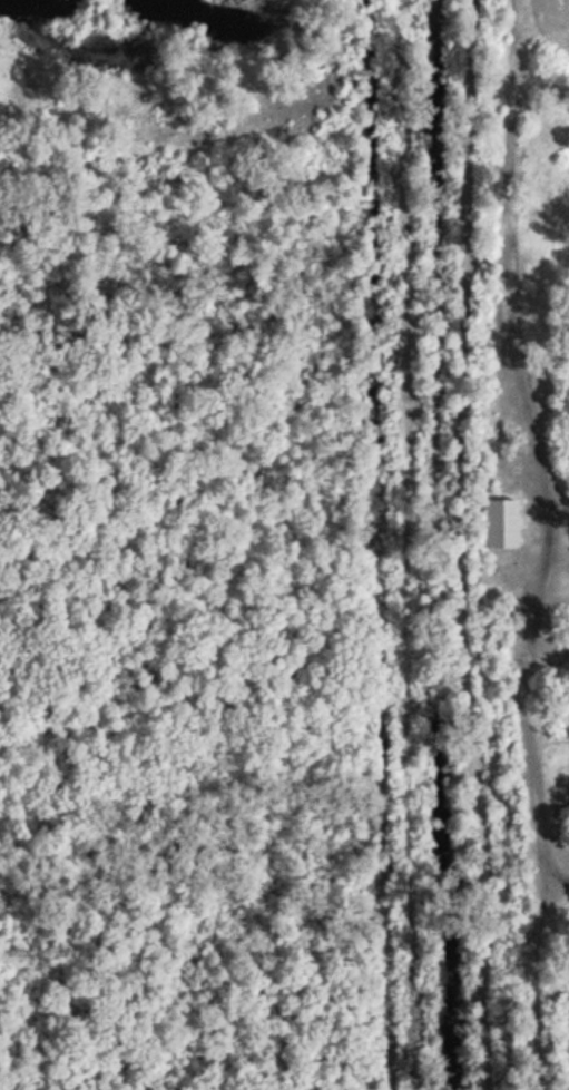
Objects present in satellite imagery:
building: (506, 524)
park: (198, 539)
road: (406, 544)
road: (463, 544)

